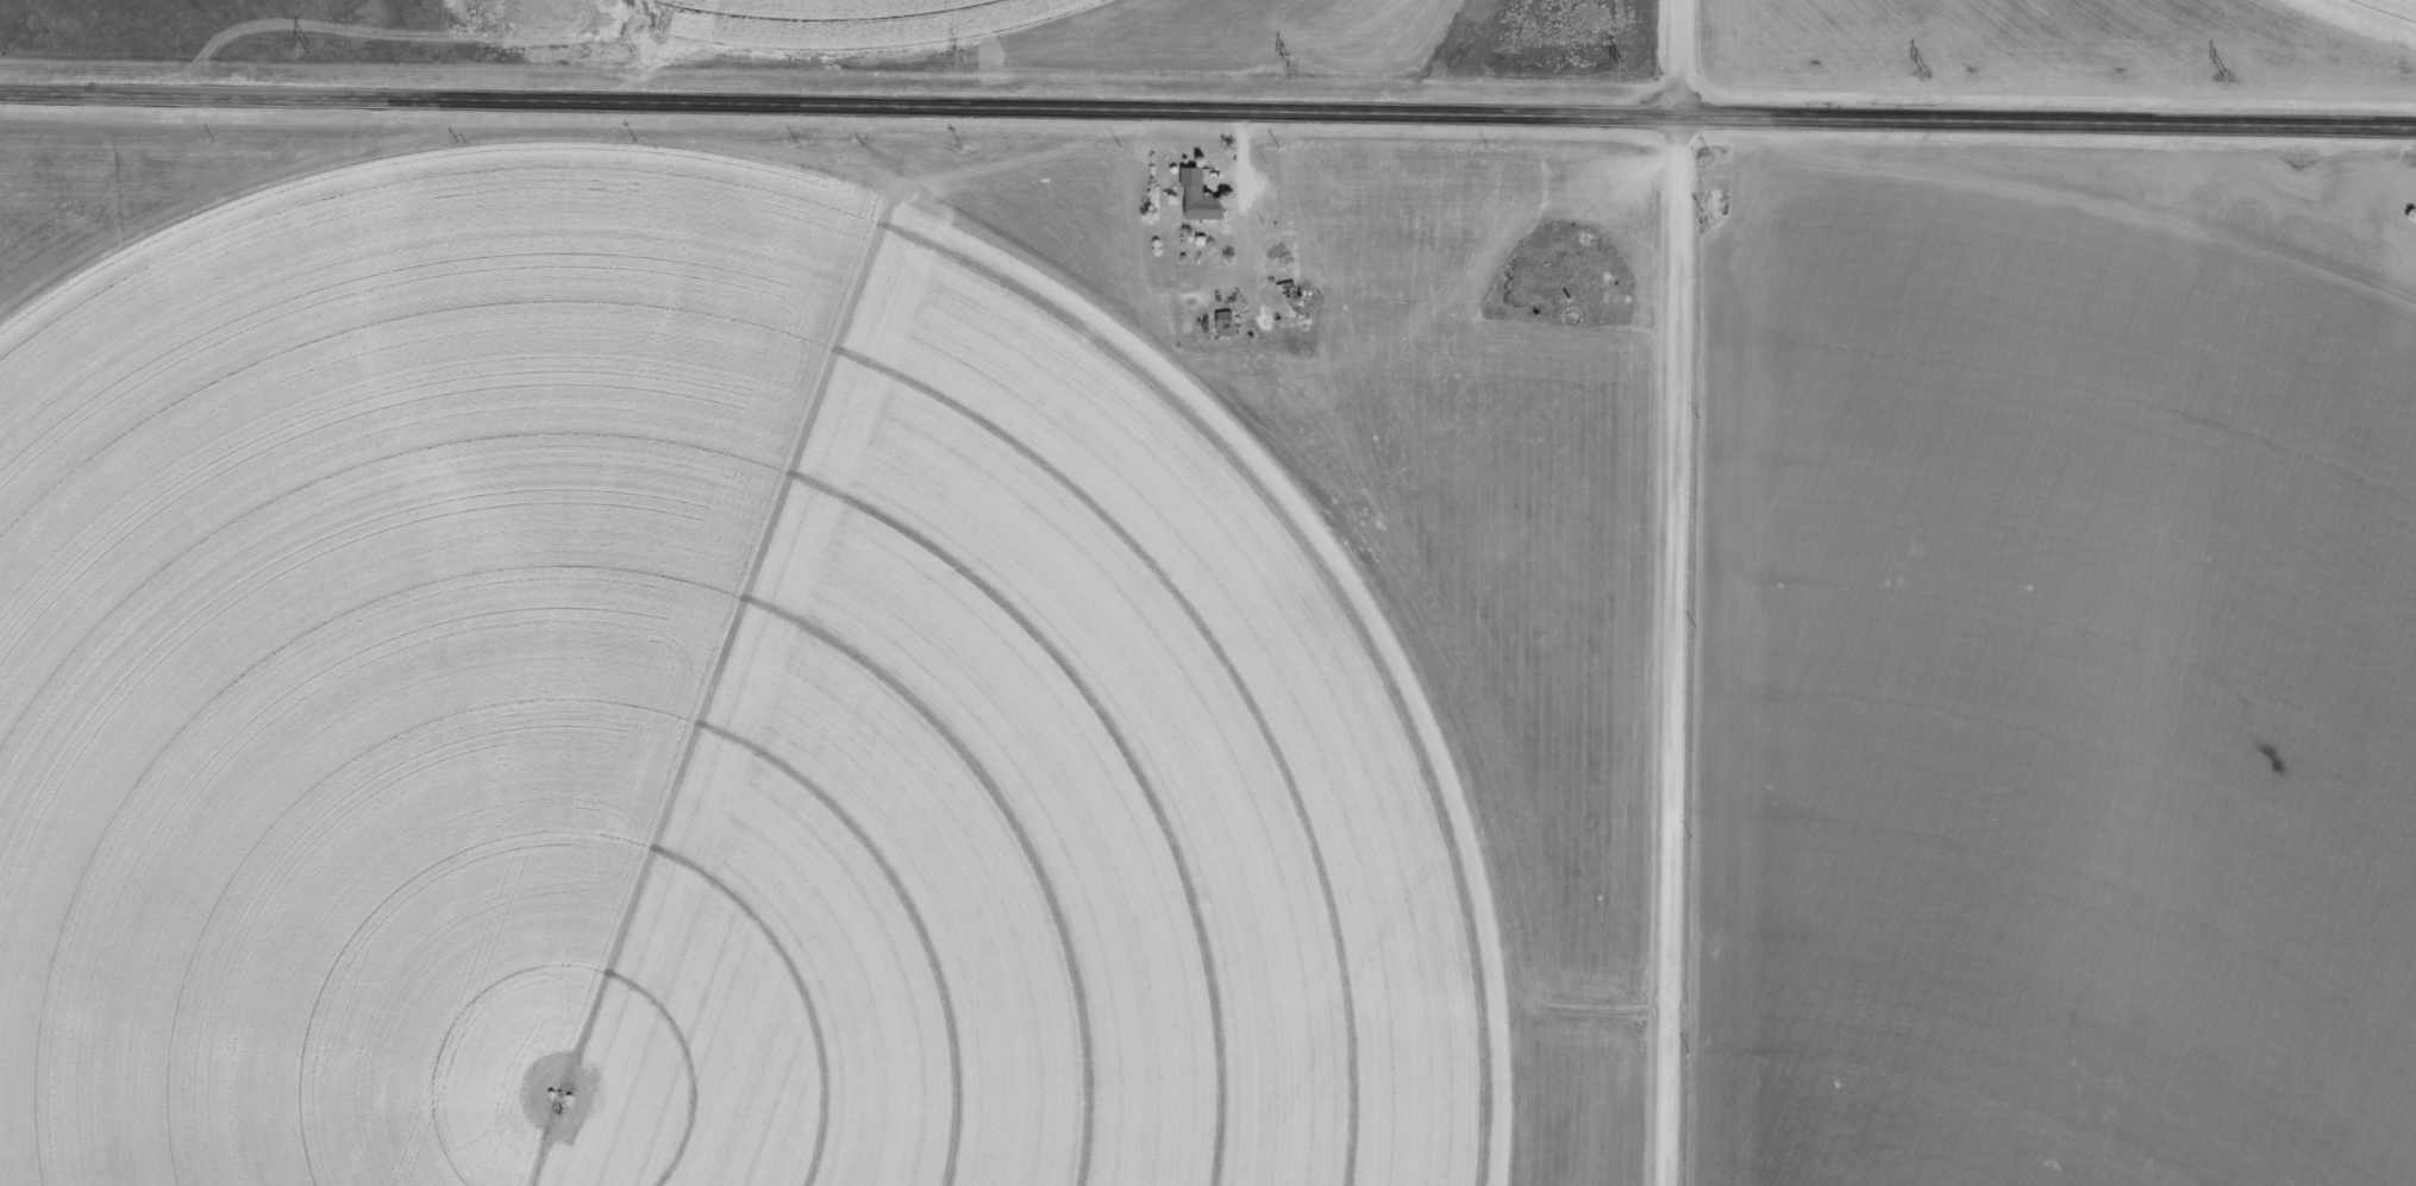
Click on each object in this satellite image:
road: (1207, 114)
road: (1682, 592)

